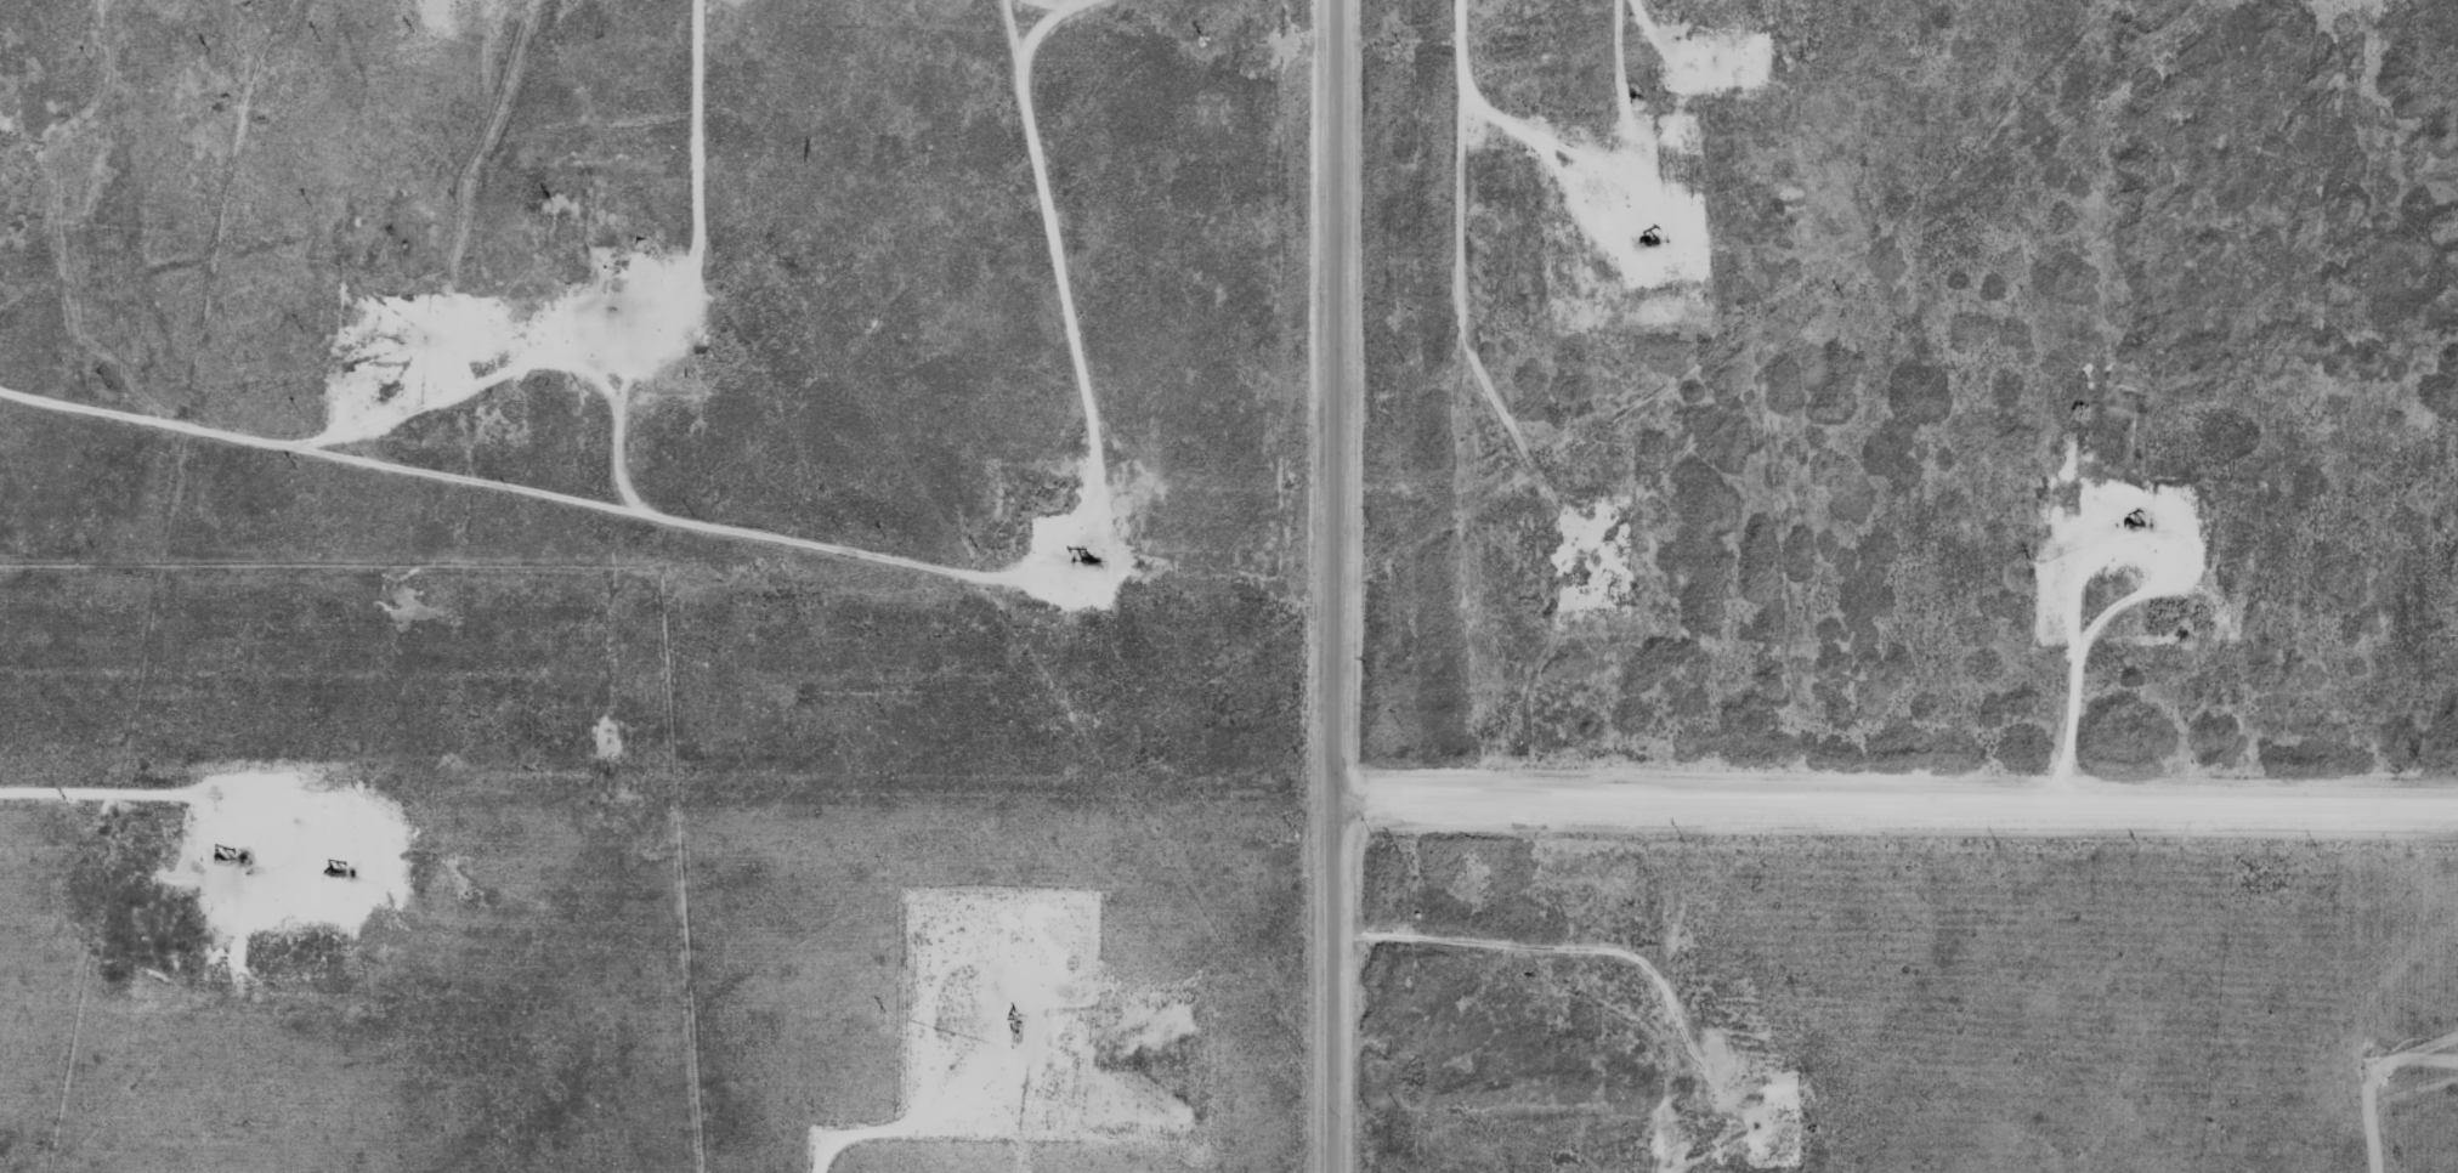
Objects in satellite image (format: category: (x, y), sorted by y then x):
petroleum well: (1648, 236)
road: (814, 506)
petroleum well: (1091, 563)
road: (1320, 586)
road: (1888, 786)

